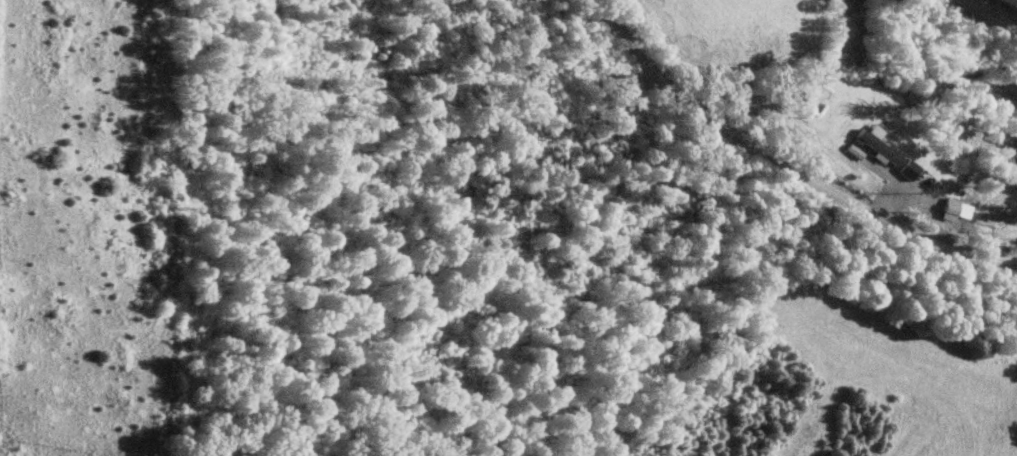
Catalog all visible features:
road: (789, 159)

